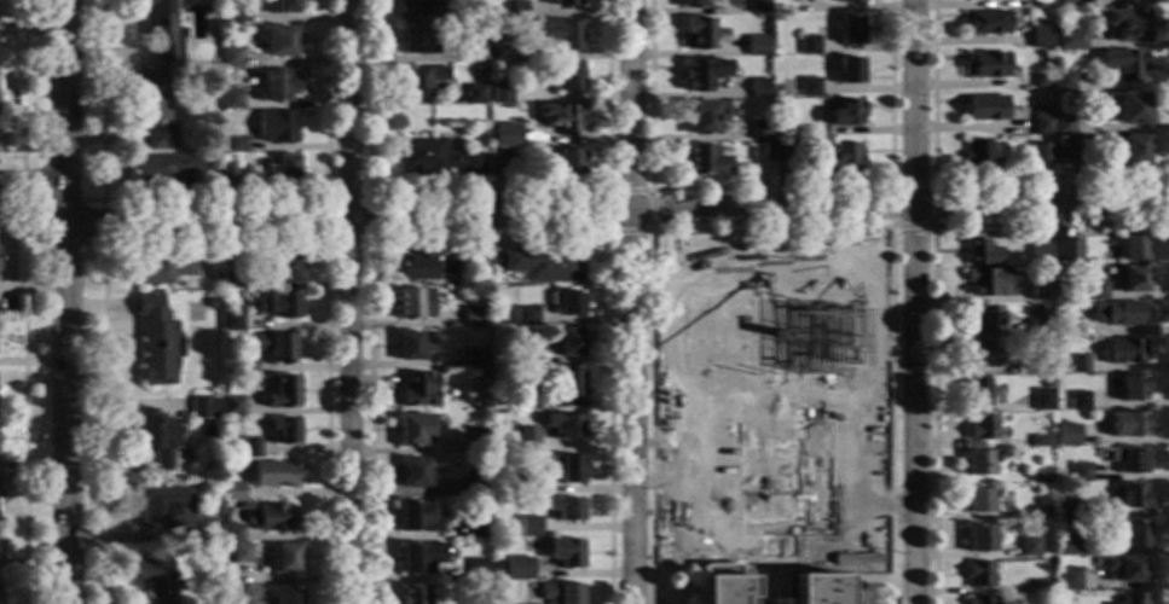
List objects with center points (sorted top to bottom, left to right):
building: (989, 0)
building: (847, 1)
building: (565, 2)
building: (1063, 4)
building: (694, 5)
building: (1042, 5)
building: (280, 7)
building: (758, 7)
building: (417, 8)
building: (517, 11)
building: (228, 16)
building: (986, 24)
building: (1127, 25)
building: (161, 30)
building: (847, 30)
building: (698, 34)
building: (561, 35)
building: (1038, 39)
building: (1064, 40)
building: (418, 41)
building: (277, 42)
building: (758, 47)
building: (808, 47)
building: (475, 51)
building: (517, 53)
building: (228, 58)
building: (985, 66)
building: (1123, 66)
building: (847, 72)
building: (562, 77)
building: (698, 77)
building: (417, 81)
building: (1063, 83)
road: (22, 85)
building: (1041, 85)
building: (274, 87)
building: (809, 88)
building: (758, 89)
building: (499, 93)
building: (474, 95)
building: (230, 100)
road: (103, 105)
building: (985, 109)
building: (1132, 110)
building: (152, 111)
building: (843, 115)
building: (704, 117)
building: (561, 120)
building: (1041, 126)
building: (1063, 127)
building: (274, 128)
building: (759, 132)
building: (816, 133)
building: (503, 138)
building: (235, 146)
road: (45, 151)
building: (1133, 151)
building: (759, 153)
building: (785, 153)
building: (500, 155)
building: (1065, 155)
building: (980, 156)
building: (434, 158)
building: (702, 159)
building: (839, 161)
building: (1042, 162)
building: (565, 163)
building: (496, 168)
building: (163, 169)
building: (280, 170)
building: (227, 175)
road: (22, 181)
road: (33, 184)
road: (92, 201)
building: (1053, 203)
road: (64, 208)
road: (617, 214)
road: (35, 215)
road: (104, 223)
road: (85, 245)
building: (1064, 246)
building: (1132, 249)
building: (980, 254)
building: (1040, 255)
building: (544, 266)
building: (423, 267)
building: (282, 268)
building: (163, 271)
park: (851, 271)
building: (484, 275)
park: (698, 278)
building: (1130, 280)
building: (231, 281)
building: (985, 281)
building: (1034, 292)
building: (1094, 292)
road: (66, 301)
road: (349, 301)
road: (631, 301)
road: (912, 302)
building: (412, 304)
building: (565, 304)
building: (282, 306)
building: (1122, 314)
building: (471, 318)
building: (525, 320)
building: (977, 320)
building: (231, 324)
building: (1064, 327)
building: (1017, 332)
building: (156, 343)
building: (566, 344)
building: (273, 348)
building: (407, 348)
building: (1122, 353)
building: (983, 354)
building: (473, 360)
building: (526, 361)
building: (244, 365)
building: (1077, 365)
building: (1025, 368)
building: (560, 384)
building: (1044, 385)
building: (1130, 389)
building: (417, 391)
building: (977, 393)
building: (282, 394)
road: (23, 399)
building: (1042, 401)
building: (525, 402)
building: (1077, 402)
building: (231, 406)
building: (203, 408)
road: (104, 420)
building: (1132, 425)
building: (562, 426)
building: (980, 428)
building: (412, 430)
building: (283, 432)
building: (1065, 436)
building: (156, 437)
building: (476, 441)
building: (525, 441)
building: (1038, 442)
building: (249, 449)
building: (1127, 460)
building: (980, 465)
building: (563, 470)
building: (415, 474)
building: (1078, 474)
building: (271, 475)
building: (1040, 478)
building: (474, 486)
building: (526, 486)
building: (232, 493)
building: (1130, 496)
building: (978, 501)
building: (562, 510)
building: (1064, 511)
building: (172, 512)
building: (1040, 513)
building: (416, 518)
building: (274, 519)
building: (527, 528)
building: (478, 530)
building: (231, 535)
building: (1130, 535)
building: (980, 539)
building: (1066, 546)
building: (1029, 547)
building: (737, 548)
building: (565, 553)
building: (239, 554)
building: (282, 559)
building: (418, 559)
building: (515, 569)
building: (1123, 569)
building: (475, 570)
building: (978, 576)
building: (156, 579)
building: (1066, 580)
building: (1041, 587)
building: (818, 590)
building: (559, 594)
building: (284, 596)
building: (413, 596)
building: (1133, 599)
building: (979, 600)

